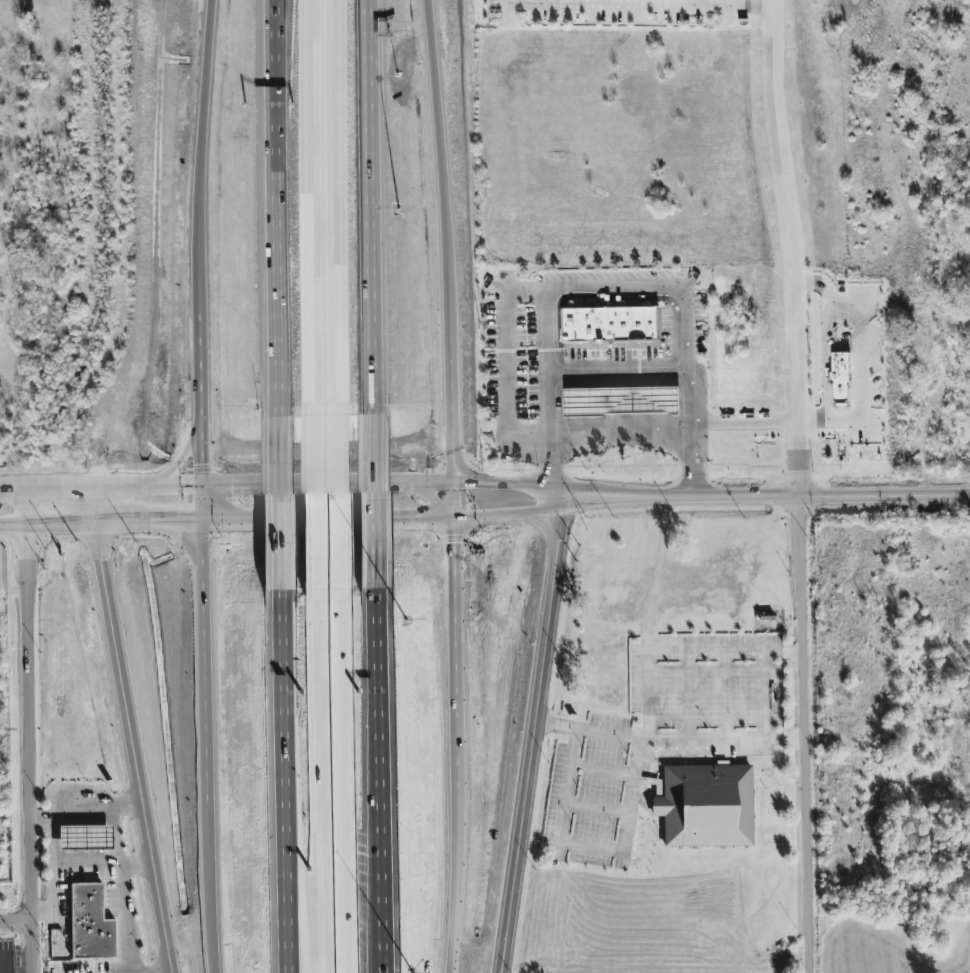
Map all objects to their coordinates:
road: (728, 6)
road: (614, 13)
road: (753, 13)
road: (758, 14)
road: (201, 153)
road: (445, 187)
road: (375, 206)
road: (306, 207)
road: (331, 207)
road: (272, 211)
road: (794, 247)
road: (619, 286)
road: (831, 296)
building: (611, 321)
road: (810, 354)
road: (825, 355)
road: (199, 356)
road: (507, 363)
road: (859, 365)
road: (619, 369)
building: (838, 378)
road: (818, 392)
building: (619, 397)
gas station: (619, 397)
road: (744, 420)
road: (834, 420)
road: (620, 422)
road: (452, 428)
road: (199, 446)
road: (182, 452)
road: (846, 463)
road: (652, 466)
road: (819, 476)
road: (430, 481)
traffic signals: (453, 481)
road: (304, 484)
road: (505, 485)
traffic signals: (200, 486)
road: (132, 487)
road: (13, 490)
road: (45, 490)
road: (609, 494)
road: (382, 495)
road: (815, 495)
road: (453, 498)
road: (278, 499)
road: (314, 501)
road: (335, 502)
road: (557, 508)
traffic signals: (453, 515)
road: (326, 517)
traffic signals: (201, 520)
road: (100, 522)
road: (656, 580)
road: (204, 643)
road: (455, 676)
road: (283, 719)
park: (8, 729)
road: (30, 731)
road: (131, 731)
road: (529, 731)
road: (806, 734)
road: (668, 739)
road: (638, 761)
road: (387, 775)
road: (315, 781)
road: (338, 782)
building: (705, 807)
road: (71, 816)
building: (83, 838)
road: (55, 863)
road: (138, 863)
road: (122, 873)
road: (210, 887)
road: (455, 905)
road: (287, 917)
road: (293, 917)
road: (17, 922)
building: (87, 922)
road: (387, 956)
road: (170, 972)

